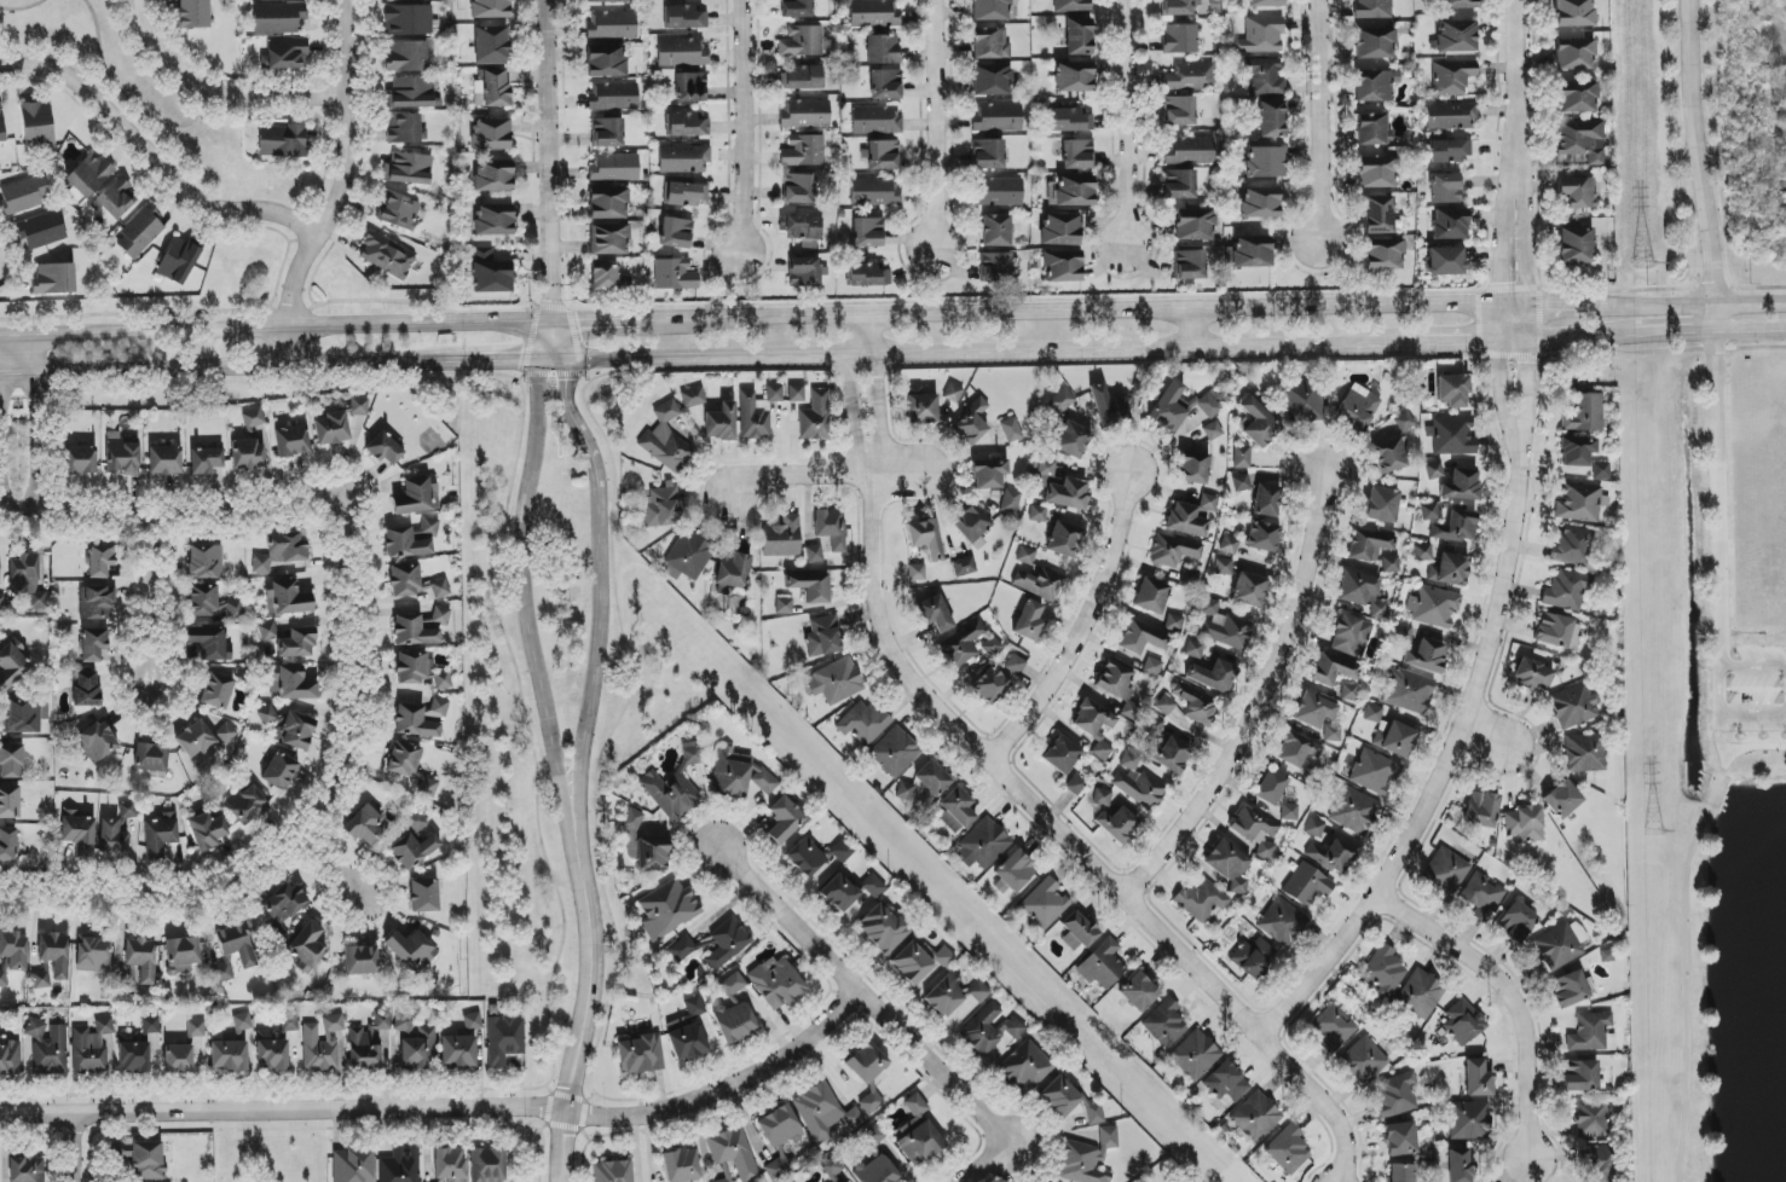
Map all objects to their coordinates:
building: (393, 0)
building: (606, 1)
building: (1262, 4)
building: (1456, 4)
building: (1071, 6)
building: (1179, 7)
building: (490, 8)
building: (797, 8)
building: (1372, 8)
road: (23, 10)
building: (990, 10)
building: (874, 13)
building: (1573, 13)
building: (193, 15)
building: (684, 18)
building: (278, 19)
building: (408, 21)
building: (612, 25)
building: (1261, 35)
building: (1079, 36)
building: (1456, 36)
building: (1180, 39)
building: (802, 41)
building: (990, 44)
building: (1374, 44)
building: (491, 46)
building: (883, 50)
building: (681, 53)
building: (287, 54)
building: (1573, 54)
building: (408, 57)
building: (606, 62)
building: (803, 77)
building: (1074, 77)
building: (1190, 77)
building: (1264, 77)
building: (1451, 77)
building: (993, 80)
road: (1513, 83)
building: (885, 85)
building: (1375, 86)
building: (690, 87)
building: (492, 88)
building: (412, 93)
road: (213, 95)
road: (126, 97)
building: (613, 97)
building: (1577, 97)
building: (1179, 111)
building: (804, 114)
building: (1450, 116)
building: (996, 117)
building: (875, 120)
building: (1272, 120)
building: (1071, 121)
road: (1317, 121)
road: (1126, 122)
road: (934, 124)
building: (37, 126)
building: (686, 126)
road: (739, 126)
building: (1, 128)
building: (404, 129)
building: (1372, 131)
building: (608, 133)
building: (491, 135)
building: (1582, 140)
building: (282, 141)
building: (804, 151)
building: (1187, 151)
building: (1449, 151)
building: (883, 155)
building: (988, 155)
building: (1077, 155)
road: (151, 160)
road: (549, 160)
building: (683, 160)
building: (1265, 162)
road: (1698, 166)
building: (614, 168)
building: (409, 169)
building: (1376, 172)
building: (89, 175)
building: (493, 176)
building: (1179, 184)
road: (337, 189)
building: (798, 189)
building: (1445, 189)
building: (1070, 191)
building: (874, 192)
building: (998, 192)
building: (1574, 192)
building: (25, 195)
building: (686, 195)
building: (117, 198)
building: (1259, 202)
road: (1505, 202)
building: (608, 203)
building: (398, 212)
building: (1377, 215)
building: (1450, 224)
building: (1193, 225)
building: (1060, 230)
building: (40, 231)
building: (803, 231)
building: (996, 231)
building: (867, 232)
building: (140, 233)
building: (676, 233)
building: (608, 239)
building: (1574, 247)
building: (1252, 253)
building: (1383, 255)
building: (386, 256)
building: (178, 261)
building: (1445, 261)
building: (1189, 265)
power tower: (1645, 265)
building: (994, 267)
building: (1062, 267)
building: (803, 272)
building: (675, 276)
building: (867, 276)
building: (603, 277)
building: (492, 278)
building: (53, 279)
road: (1501, 289)
traffic signals: (554, 301)
road: (1549, 305)
road: (1692, 305)
road: (1526, 306)
road: (1091, 313)
road: (617, 319)
traffic signals: (577, 321)
road: (276, 326)
road: (1193, 330)
road: (1749, 330)
road: (1670, 332)
road: (1577, 336)
road: (554, 340)
road: (1476, 342)
road: (989, 353)
road: (0, 358)
road: (42, 358)
road: (508, 359)
traffic signals: (519, 359)
road: (252, 369)
road: (21, 379)
traffic signals: (567, 381)
road: (875, 387)
road: (851, 388)
building: (1452, 390)
building: (953, 393)
building: (774, 394)
building: (796, 394)
road: (1502, 394)
building: (693, 398)
building: (1062, 401)
building: (1302, 402)
building: (1180, 406)
building: (358, 407)
building: (920, 407)
building: (1108, 407)
building: (1357, 409)
building: (1583, 415)
building: (814, 417)
building: (253, 418)
building: (752, 418)
road: (576, 421)
building: (1404, 422)
building: (721, 423)
building: (971, 423)
building: (1259, 423)
building: (331, 429)
building: (1011, 430)
building: (1212, 431)
building: (1452, 438)
building: (665, 440)
building: (1071, 440)
building: (291, 441)
road: (1, 448)
road: (45, 448)
building: (385, 450)
building: (1576, 451)
building: (121, 454)
building: (248, 454)
building: (1388, 454)
building: (1241, 457)
building: (81, 460)
building: (164, 460)
building: (206, 460)
building: (1193, 468)
building: (1599, 471)
building: (989, 474)
road: (827, 476)
building: (1453, 482)
building: (1241, 483)
building: (1059, 487)
building: (417, 497)
building: (1266, 500)
building: (1011, 502)
building: (1578, 503)
building: (1381, 505)
building: (661, 506)
building: (1429, 511)
building: (1038, 514)
building: (1191, 516)
road: (167, 523)
building: (971, 523)
road: (1716, 523)
building: (429, 526)
building: (1456, 527)
building: (830, 528)
building: (1262, 537)
building: (782, 538)
building: (925, 538)
building: (1064, 540)
building: (405, 544)
building: (1229, 545)
building: (1368, 545)
building: (1572, 546)
building: (1173, 551)
building: (282, 552)
building: (817, 552)
building: (1422, 552)
building: (689, 556)
building: (1025, 556)
building: (204, 558)
building: (100, 561)
building: (1391, 564)
building: (964, 567)
building: (1223, 567)
building: (1449, 569)
building: (732, 572)
building: (915, 572)
road: (521, 575)
building: (1190, 578)
building: (28, 579)
building: (414, 584)
building: (1041, 584)
building: (810, 586)
building: (1249, 590)
building: (1565, 591)
building: (1362, 593)
building: (1151, 596)
building: (285, 598)
building: (210, 602)
building: (1, 603)
building: (96, 603)
road: (154, 604)
building: (784, 607)
building: (1433, 607)
building: (935, 614)
building: (440, 615)
building: (1030, 621)
road: (1081, 627)
building: (1218, 630)
building: (414, 631)
building: (1557, 632)
building: (1403, 633)
building: (1349, 636)
building: (822, 637)
building: (1141, 639)
building: (289, 641)
road: (597, 641)
building: (207, 642)
building: (93, 644)
building: (961, 644)
building: (992, 647)
building: (1426, 656)
building: (12, 665)
building: (1016, 665)
building: (1152, 667)
building: (410, 668)
building: (1331, 670)
building: (1532, 674)
building: (1213, 676)
building: (443, 680)
building: (836, 682)
building: (295, 684)
building: (990, 685)
parking lot: (1745, 686)
building: (86, 689)
building: (216, 691)
building: (1406, 691)
building: (1348, 693)
road: (1256, 701)
building: (1195, 703)
building: (1164, 705)
building: (439, 706)
building: (1573, 706)
building: (1313, 711)
building: (1372, 714)
building: (25, 715)
building: (414, 723)
building: (863, 723)
building: (1152, 726)
building: (289, 728)
building: (1096, 728)
building: (1333, 734)
building: (203, 736)
road: (1770, 738)
building: (1395, 740)
building: (97, 741)
road: (1485, 743)
building: (1295, 749)
building: (895, 753)
building: (1583, 753)
building: (1062, 755)
building: (1168, 755)
building: (152, 758)
park: (1724, 760)
building: (11, 761)
road: (1444, 765)
building: (410, 769)
building: (279, 771)
building: (1306, 771)
building: (1374, 772)
building: (738, 775)
building: (924, 782)
building: (1137, 783)
building: (1075, 786)
building: (1270, 787)
building: (674, 788)
building: (1103, 798)
building: (1562, 799)
building: (10, 803)
building: (247, 804)
building: (1481, 810)
building: (956, 811)
building: (1354, 811)
building: (1289, 812)
building: (634, 819)
building: (784, 819)
building: (1117, 824)
building: (1524, 824)
building: (365, 827)
building: (1314, 828)
building: (208, 830)
building: (1255, 832)
power tower: (1653, 833)
building: (79, 834)
road: (312, 834)
building: (160, 838)
building: (112, 839)
road: (1068, 839)
building: (415, 842)
building: (7, 844)
building: (982, 845)
building: (840, 851)
building: (647, 852)
building: (1333, 856)
building: (805, 857)
building: (1227, 865)
building: (1015, 871)
building: (1445, 871)
road: (329, 881)
building: (1307, 885)
building: (873, 886)
building: (839, 893)
building: (424, 896)
building: (1482, 896)
building: (285, 900)
building: (1203, 900)
building: (1044, 904)
building: (667, 909)
building: (1282, 922)
building: (1516, 922)
building: (279, 926)
building: (882, 929)
building: (1077, 931)
road: (1683, 935)
building: (310, 944)
building: (713, 945)
building: (1561, 945)
building: (15, 950)
building: (233, 951)
building: (411, 951)
building: (54, 954)
building: (93, 955)
building: (181, 955)
building: (1253, 957)
building: (141, 960)
building: (360, 960)
building: (1102, 964)
building: (921, 966)
building: (1382, 973)
building: (41, 979)
building: (776, 983)
building: (733, 985)
road: (588, 987)
building: (1568, 990)
building: (1138, 992)
building: (953, 995)
building: (1420, 995)
road: (1514, 996)
road: (857, 998)
building: (472, 1021)
building: (734, 1021)
building: (333, 1024)
building: (1164, 1024)
building: (1462, 1024)
building: (150, 1025)
building: (242, 1026)
building: (196, 1029)
building: (1333, 1029)
building: (989, 1031)
building: (688, 1032)
building: (1591, 1033)
building: (504, 1039)
building: (366, 1044)
building: (89, 1047)
building: (278, 1047)
building: (48, 1048)
building: (318, 1049)
building: (416, 1050)
building: (458, 1051)
building: (134, 1053)
building: (640, 1054)
building: (1193, 1055)
building: (227, 1056)
building: (178, 1059)
building: (10, 1060)
building: (1363, 1061)
building: (866, 1064)
building: (1025, 1067)
building: (1580, 1076)
building: (1475, 1079)
building: (1226, 1083)
road: (723, 1090)
building: (1395, 1095)
building: (871, 1102)
building: (1070, 1102)
building: (822, 1112)
road: (283, 1114)
building: (1255, 1117)
building: (1591, 1118)
building: (1468, 1120)
building: (779, 1128)
building: (918, 1134)
building: (873, 1135)
building: (1399, 1140)
road: (73, 1149)
building: (1289, 1151)
building: (733, 1153)
building: (1591, 1157)
building: (1086, 1159)
building: (146, 1160)
building: (450, 1164)
building: (352, 1165)
building: (487, 1165)
building: (1460, 1165)
building: (400, 1166)
building: (681, 1166)
road: (983, 1166)
building: (27, 1167)
building: (832, 1167)
building: (778, 1169)
building: (613, 1171)
building: (875, 1171)
building: (1400, 1172)
road: (1682, 1176)
building: (726, 1180)
building: (441, 1181)
building: (1048, 1181)

